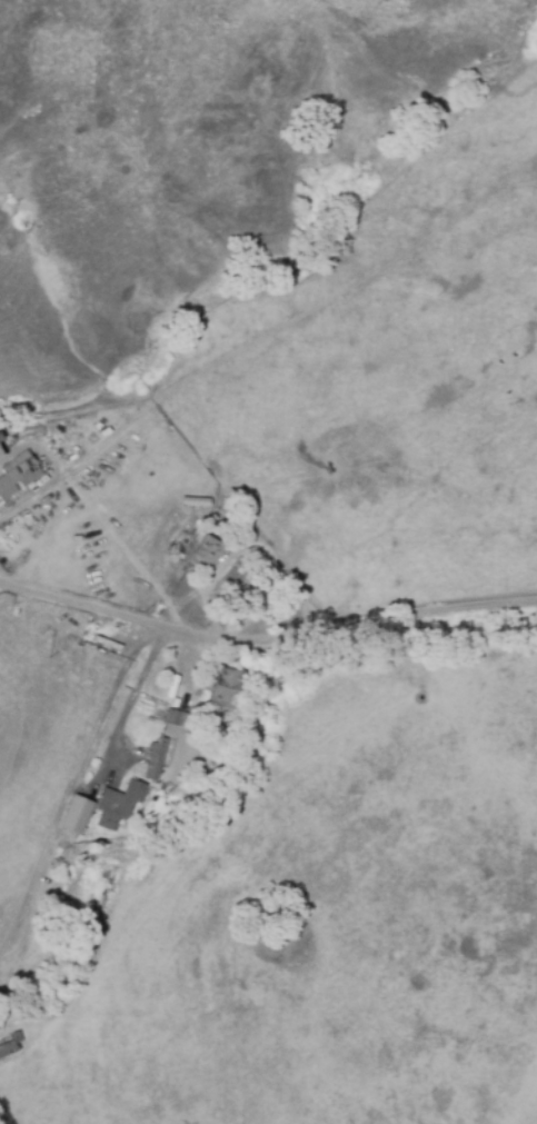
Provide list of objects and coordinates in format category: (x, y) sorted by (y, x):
building: (1, 455)
building: (16, 477)
road: (31, 497)
road: (128, 498)
road: (103, 523)
road: (255, 540)
building: (208, 551)
road: (213, 611)
road: (266, 636)
building: (227, 689)
building: (153, 762)
road: (76, 769)
building: (118, 804)
building: (77, 814)

